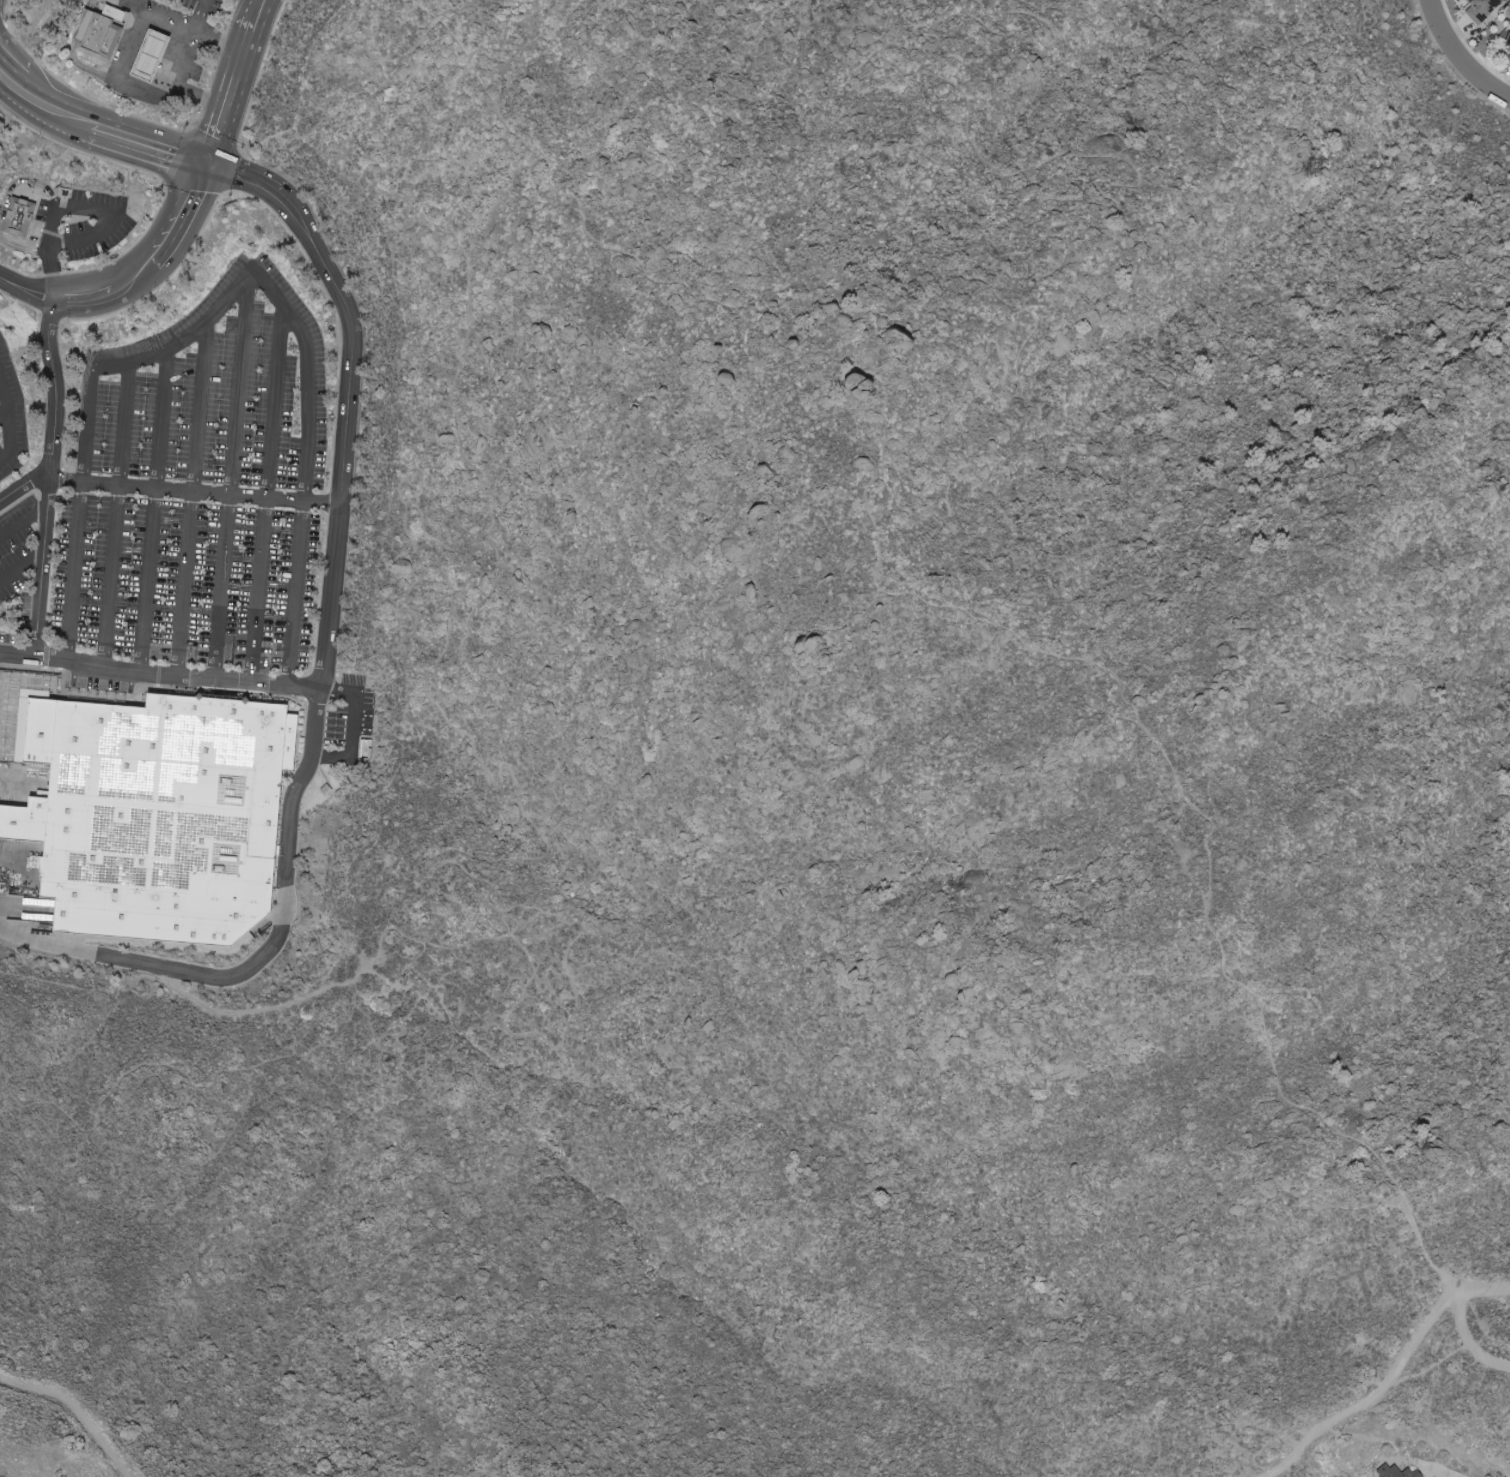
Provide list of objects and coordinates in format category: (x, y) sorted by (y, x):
road: (138, 3)
road: (140, 5)
parking lot: (206, 5)
building: (1482, 10)
road: (258, 11)
building: (114, 12)
road: (201, 13)
road: (169, 16)
building: (97, 33)
road: (219, 38)
road: (133, 42)
building: (1509, 44)
road: (1464, 53)
building: (149, 55)
gas station: (149, 55)
road: (181, 58)
building: (1509, 61)
road: (6, 73)
road: (117, 78)
road: (232, 95)
road: (48, 105)
road: (149, 146)
traffic signals: (212, 167)
road: (245, 179)
road: (20, 181)
road: (83, 205)
road: (187, 214)
building: (19, 218)
parking lot: (83, 222)
road: (26, 249)
road: (137, 275)
road: (8, 281)
road: (237, 290)
road: (36, 291)
road: (85, 296)
road: (4, 413)
parking lot: (10, 415)
road: (8, 416)
road: (348, 433)
road: (52, 476)
road: (231, 479)
parking lot: (200, 484)
road: (24, 486)
road: (196, 491)
road: (267, 495)
road: (193, 497)
road: (157, 508)
road: (117, 511)
road: (23, 520)
parking lot: (18, 545)
road: (23, 563)
road: (159, 673)
road: (353, 726)
building: (153, 813)
road: (286, 911)
road: (48, 943)
road: (1484, 1288)
road: (1479, 1341)
road: (1369, 1397)
road: (78, 1406)
road: (1438, 1469)
building: (1396, 1472)

